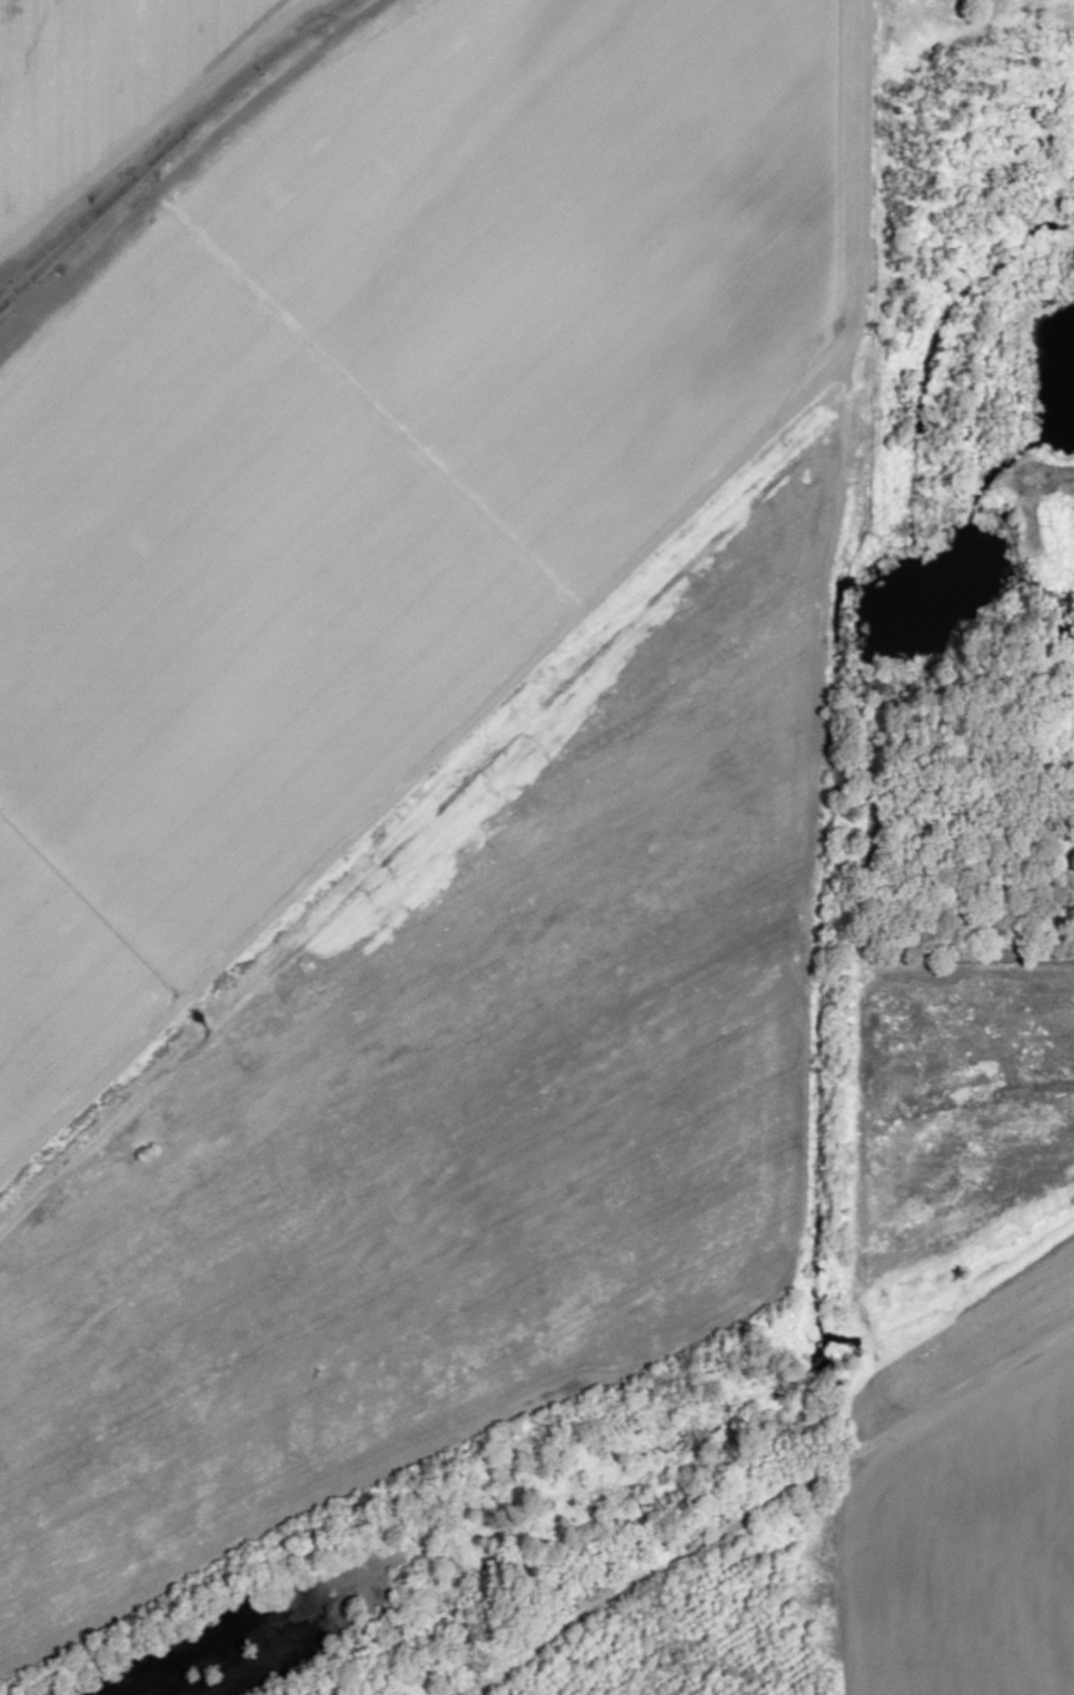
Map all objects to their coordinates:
road: (325, 23)
crop: (95, 77)
road: (152, 120)
railway: (166, 143)
road: (180, 177)
railway: (56, 241)
road: (772, 1504)

